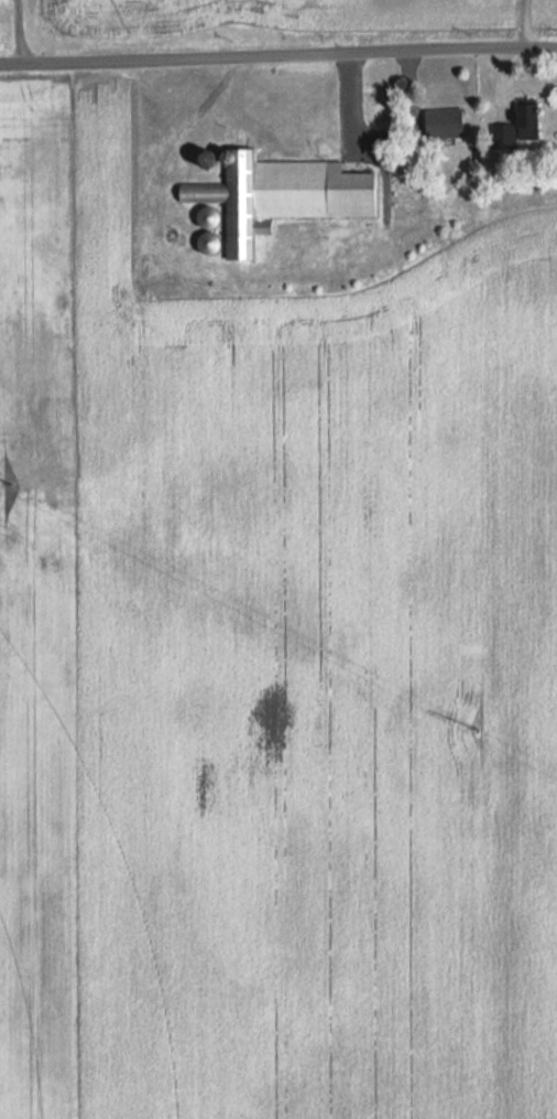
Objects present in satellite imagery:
road: (514, 22)
road: (23, 26)
road: (278, 49)
building: (438, 122)
building: (510, 128)
building: (274, 196)
power tower: (3, 482)
power tower: (491, 725)
power tower: (493, 792)

